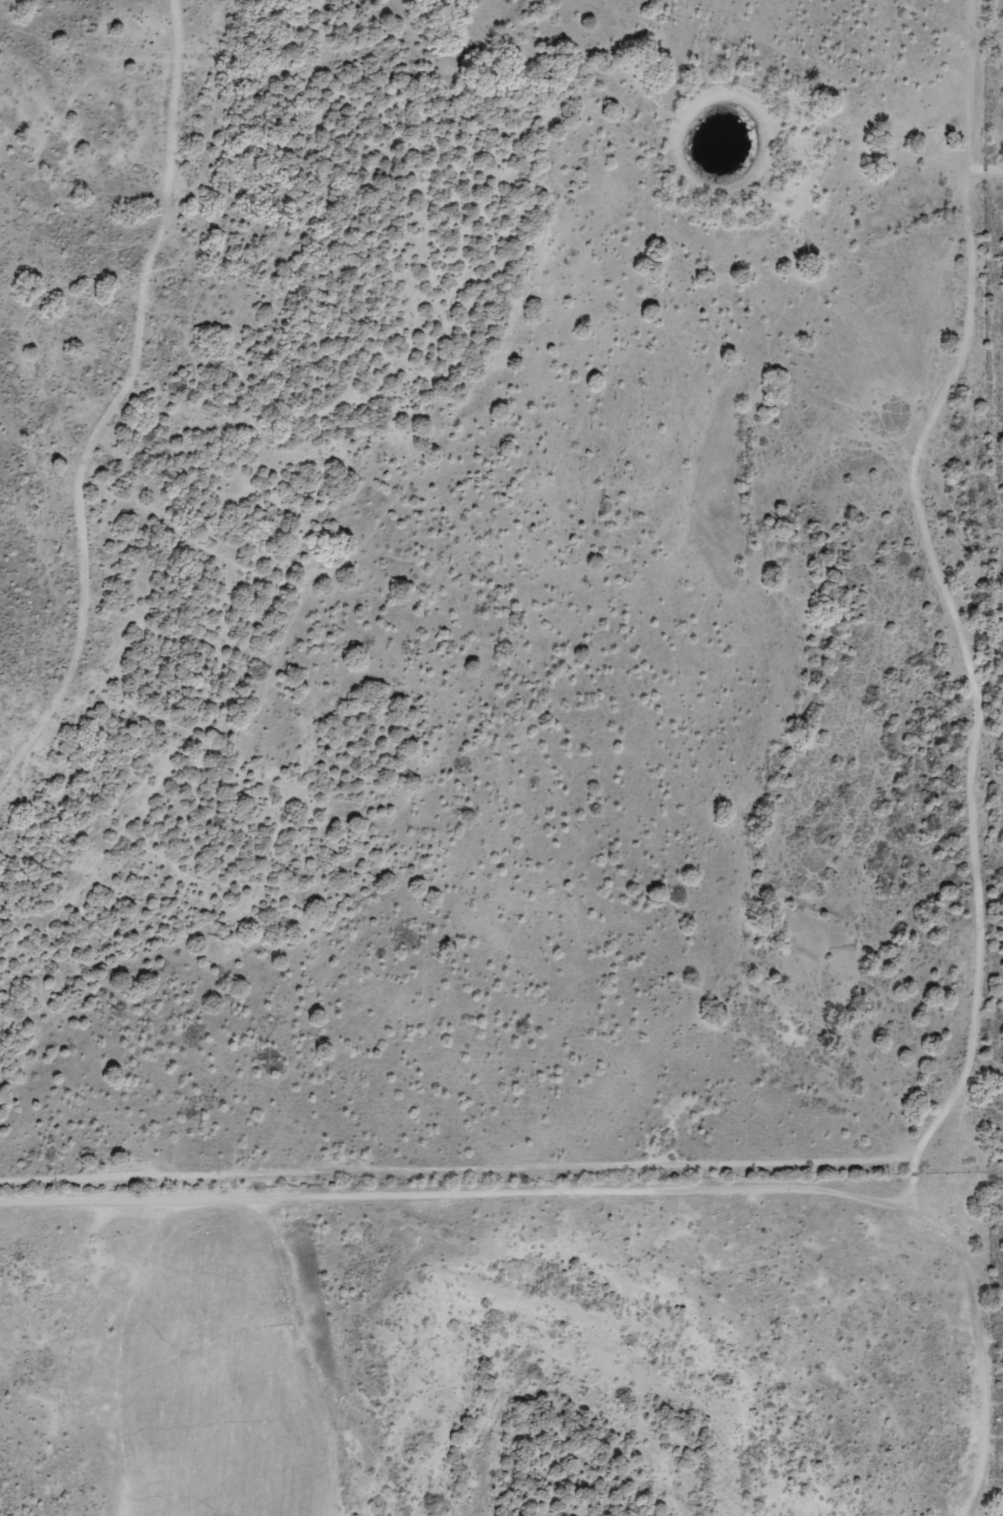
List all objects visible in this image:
road: (31, 411)
road: (502, 1246)

